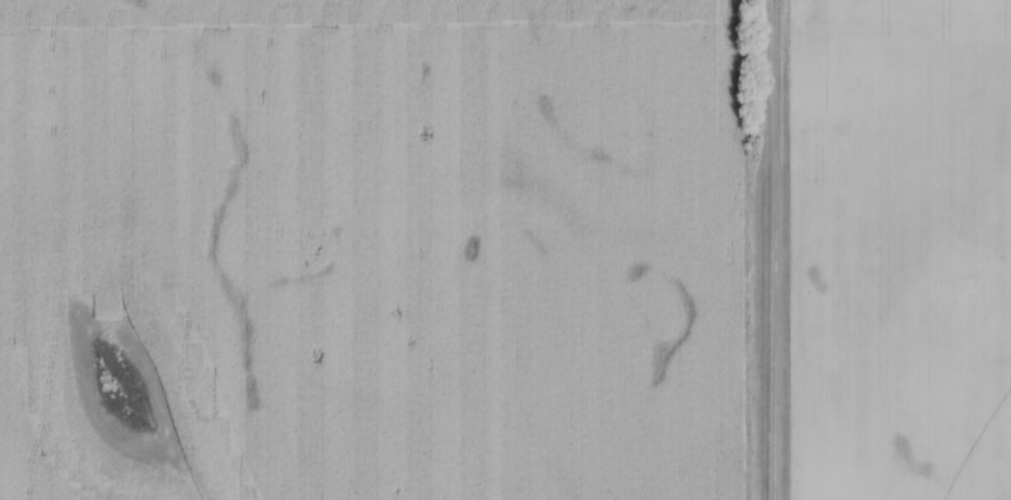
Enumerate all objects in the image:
road: (769, 249)

